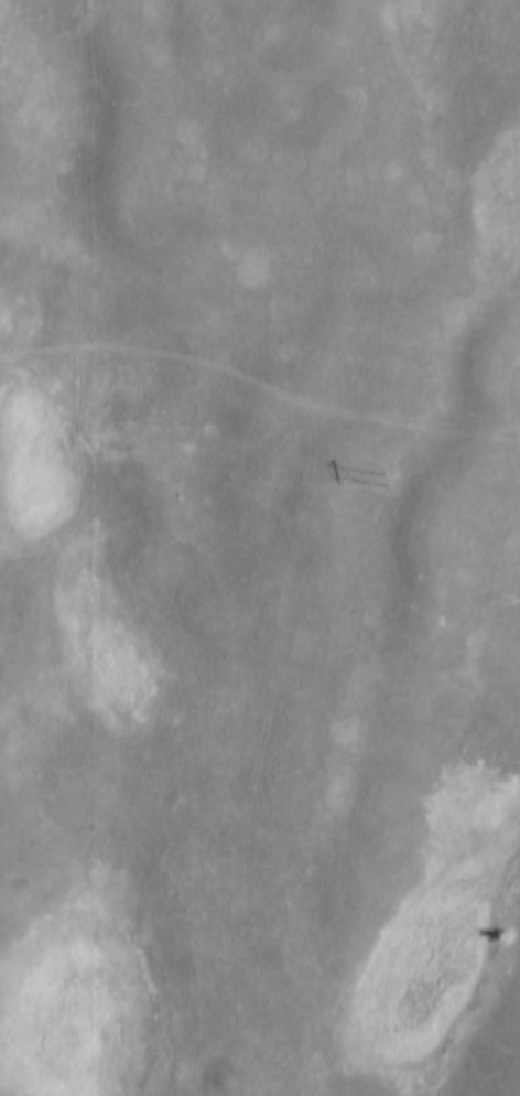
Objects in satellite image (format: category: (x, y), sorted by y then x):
power tower: (389, 480)

